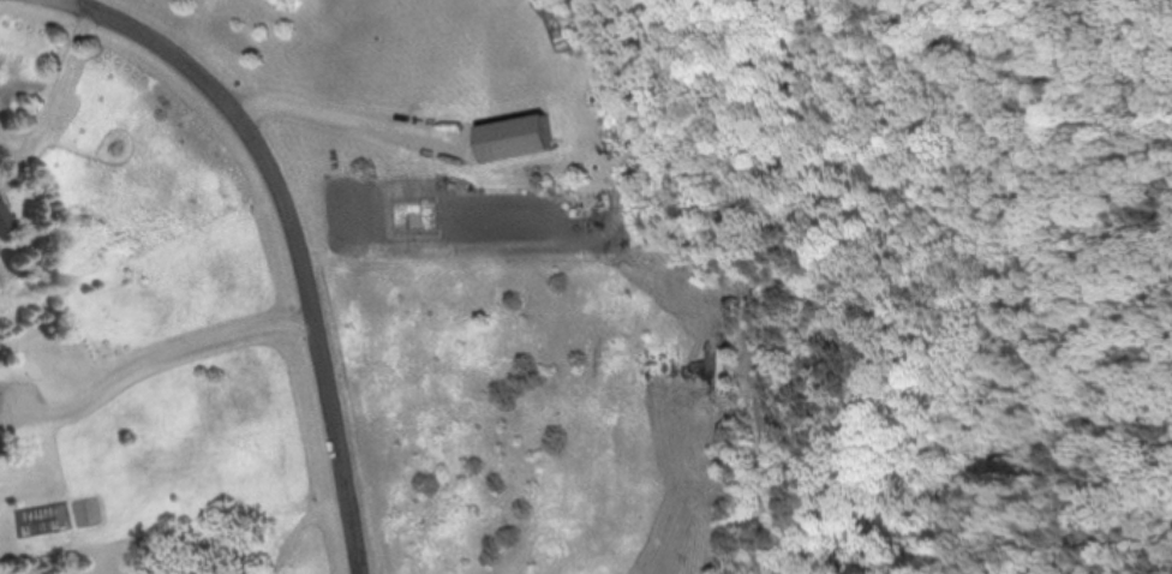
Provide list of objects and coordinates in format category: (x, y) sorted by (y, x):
road: (56, 78)
road: (327, 114)
road: (292, 235)
road: (183, 348)
road: (767, 434)

